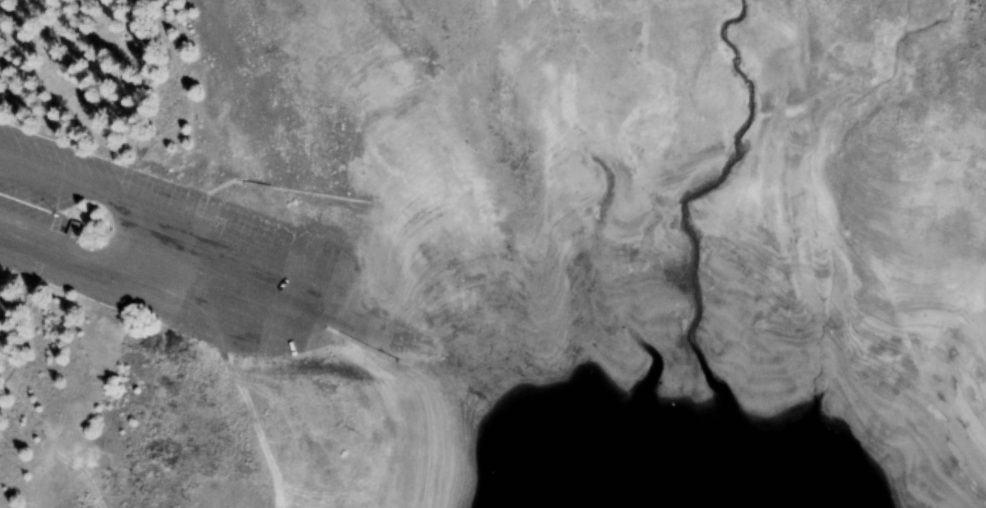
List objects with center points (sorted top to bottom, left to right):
road: (118, 229)
parking lot: (167, 248)
road: (280, 278)
road: (316, 303)

